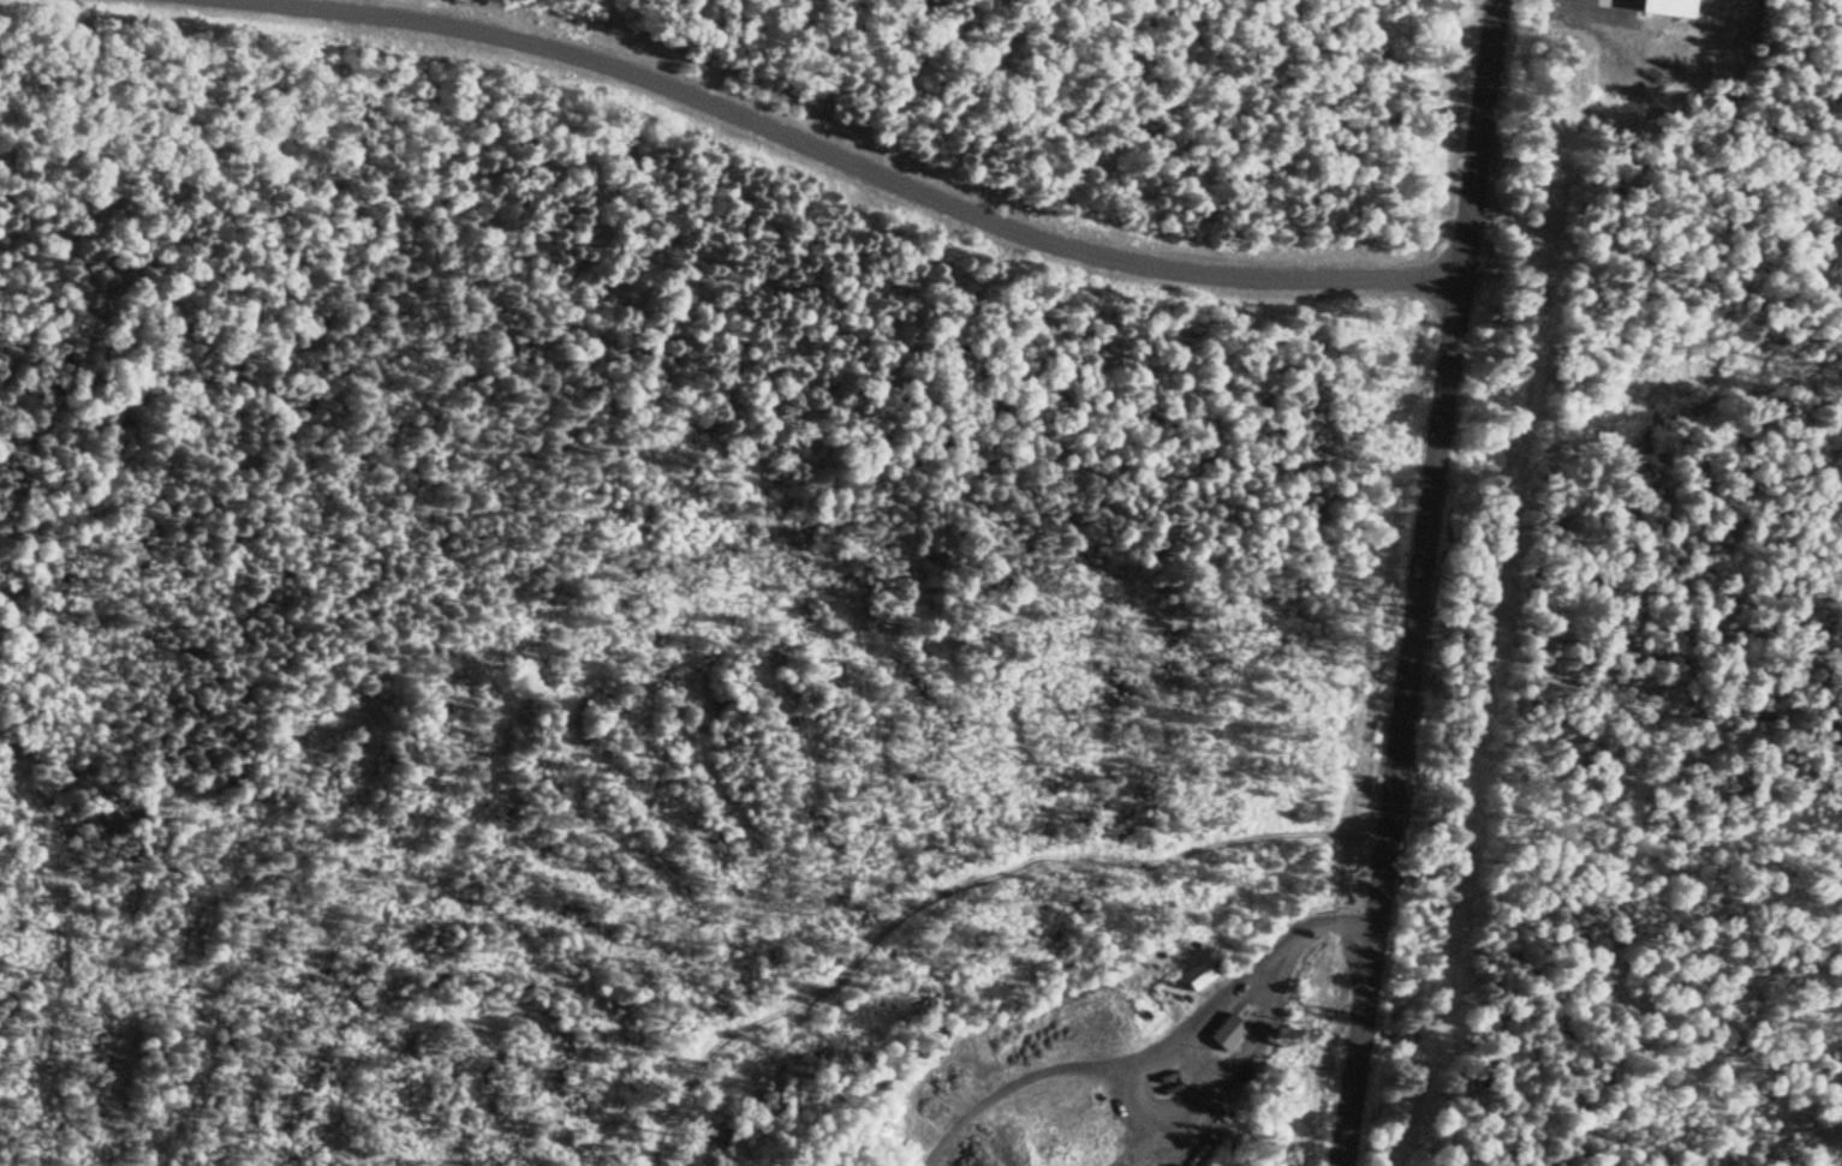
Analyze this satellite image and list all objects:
road: (846, 160)
road: (1425, 584)
building: (1199, 983)
building: (1228, 1035)
road: (1024, 1086)
road: (1203, 1111)
road: (1152, 1143)

